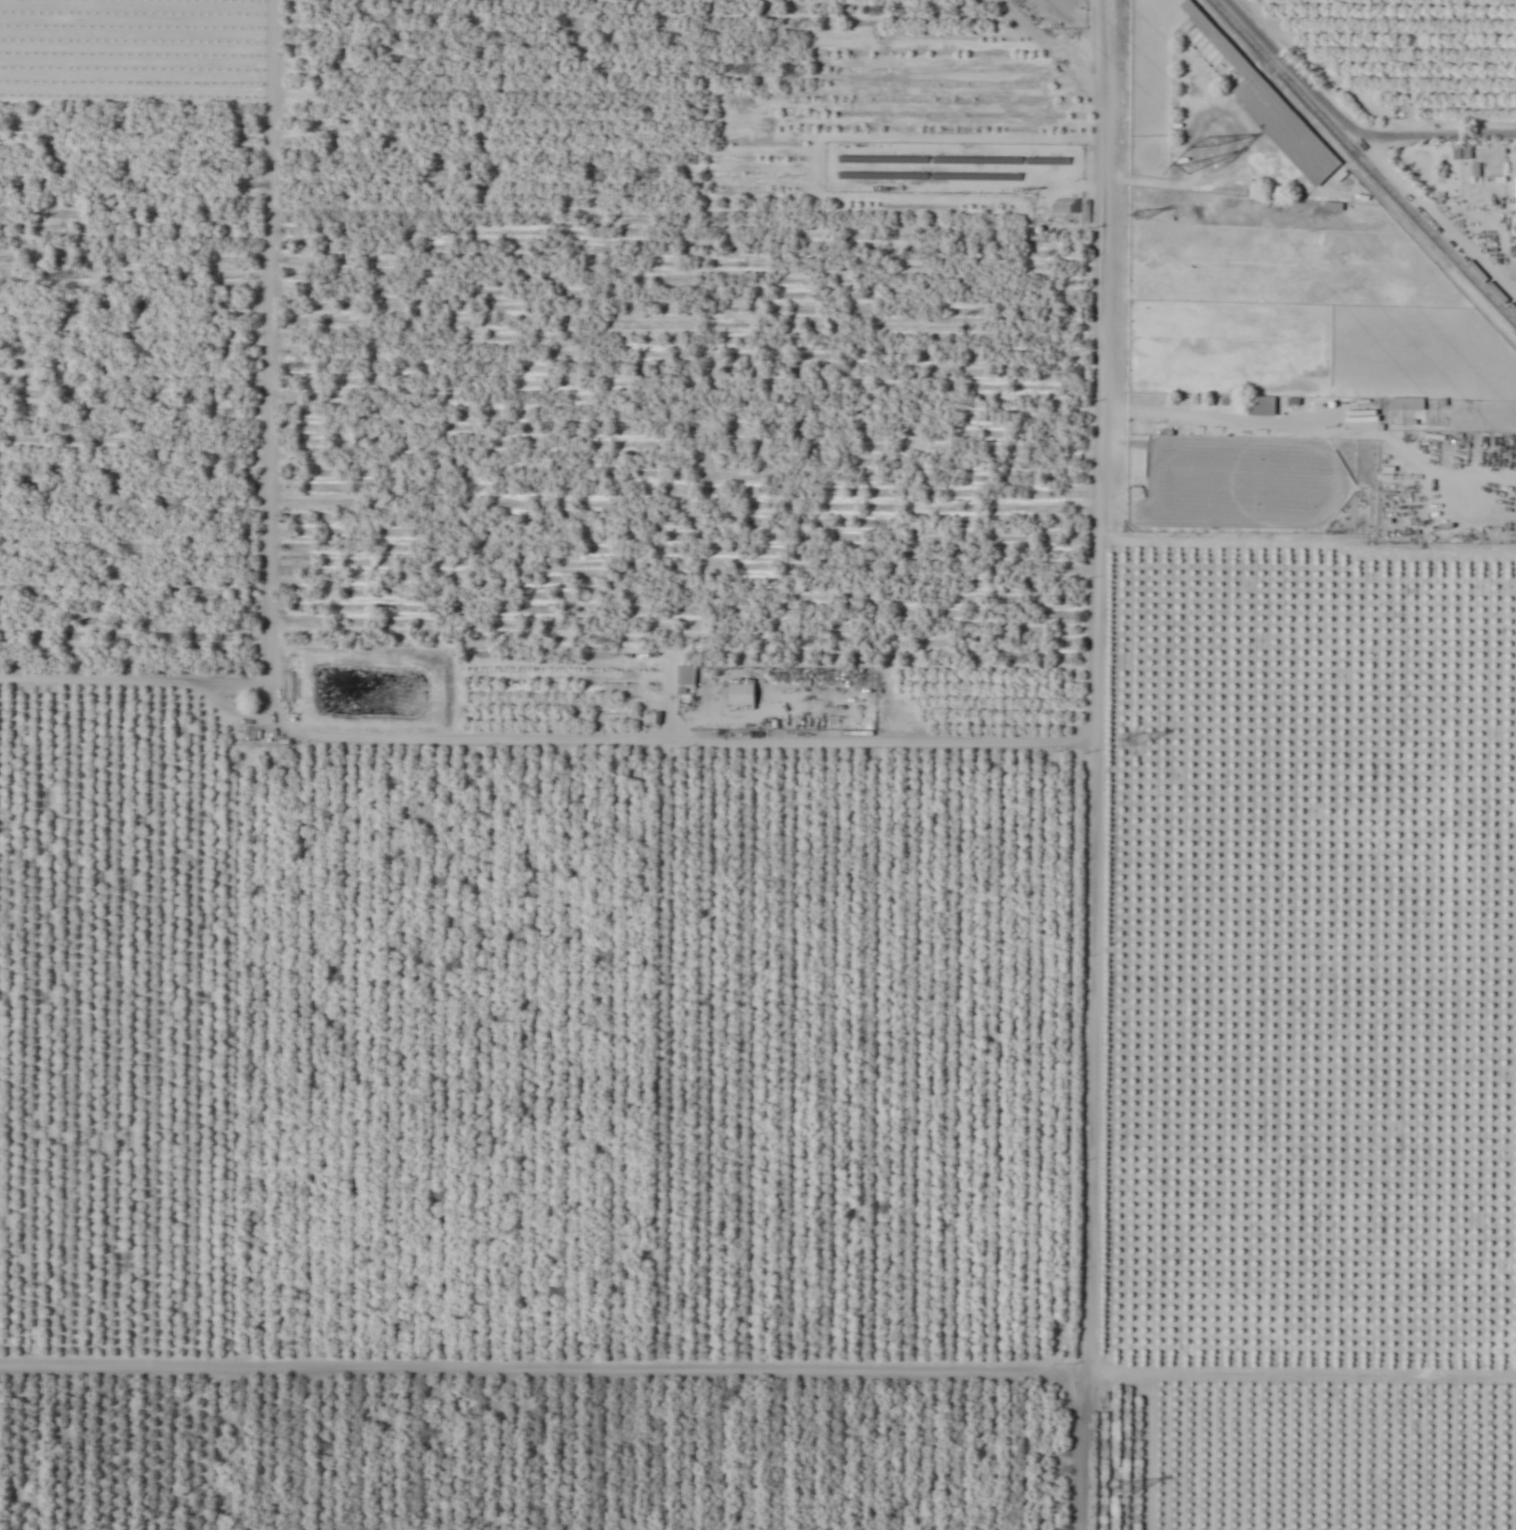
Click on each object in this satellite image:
building: (1255, 95)
power tower: (1197, 159)
railway: (1363, 162)
road: (1144, 181)
road: (1106, 334)
road: (285, 354)
building: (1406, 404)
building: (1261, 406)
building: (686, 678)
road: (546, 695)
building: (740, 695)
crop: (758, 765)
building: (1109, 854)
building: (1107, 1062)
road: (1087, 1099)
building: (1104, 1257)
road: (757, 1365)

